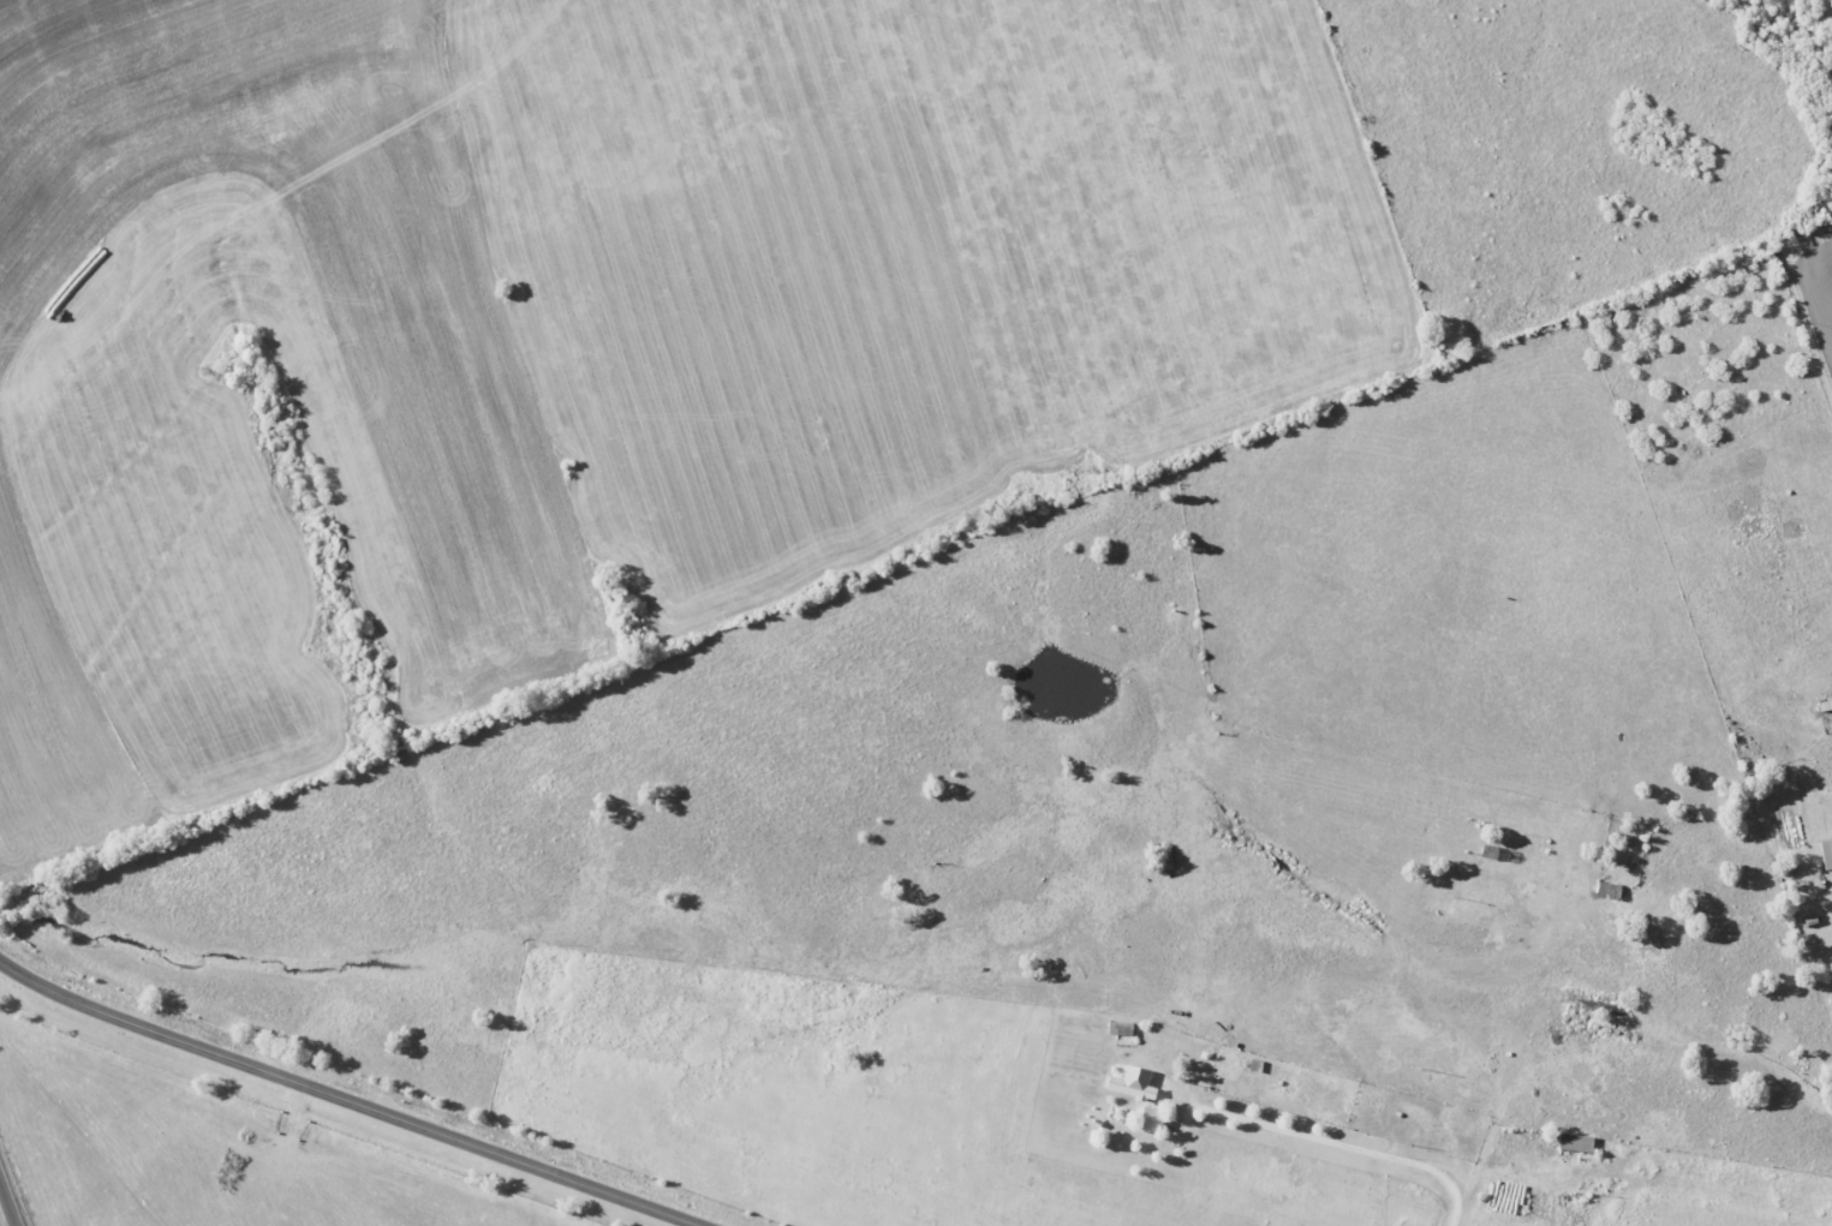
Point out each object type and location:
building: (1825, 853)
building: (1130, 1083)
road: (335, 1099)
road: (1341, 1159)
road: (7, 1203)

